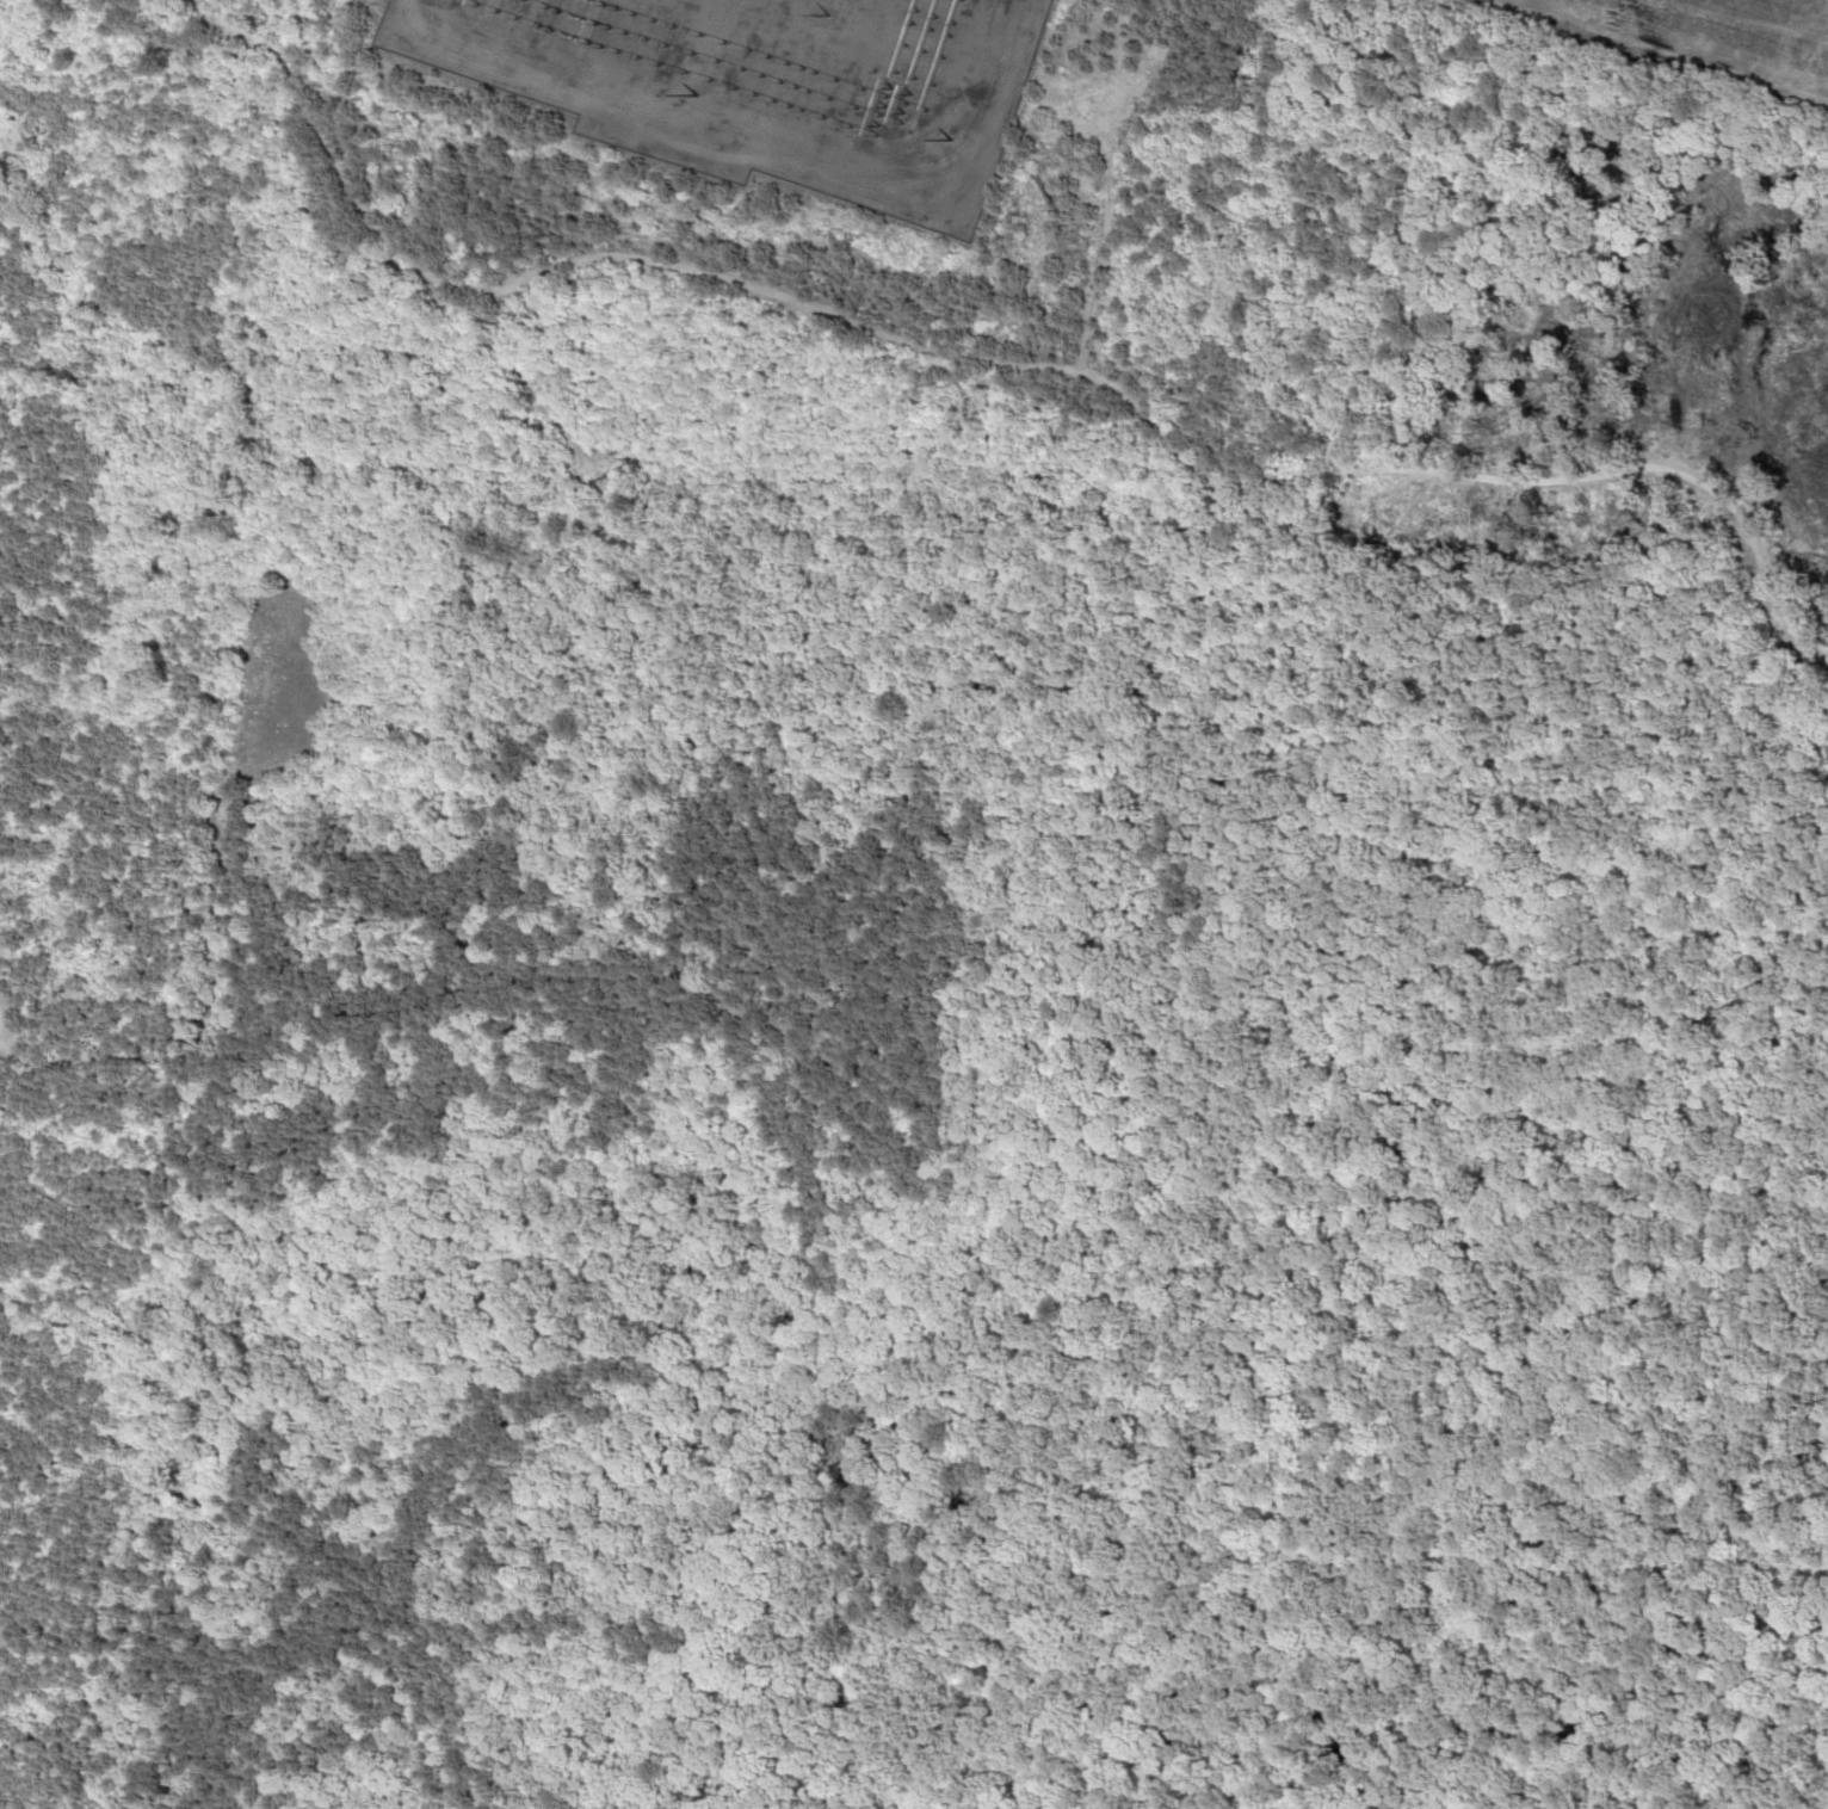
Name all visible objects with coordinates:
power substation: (758, 85)

